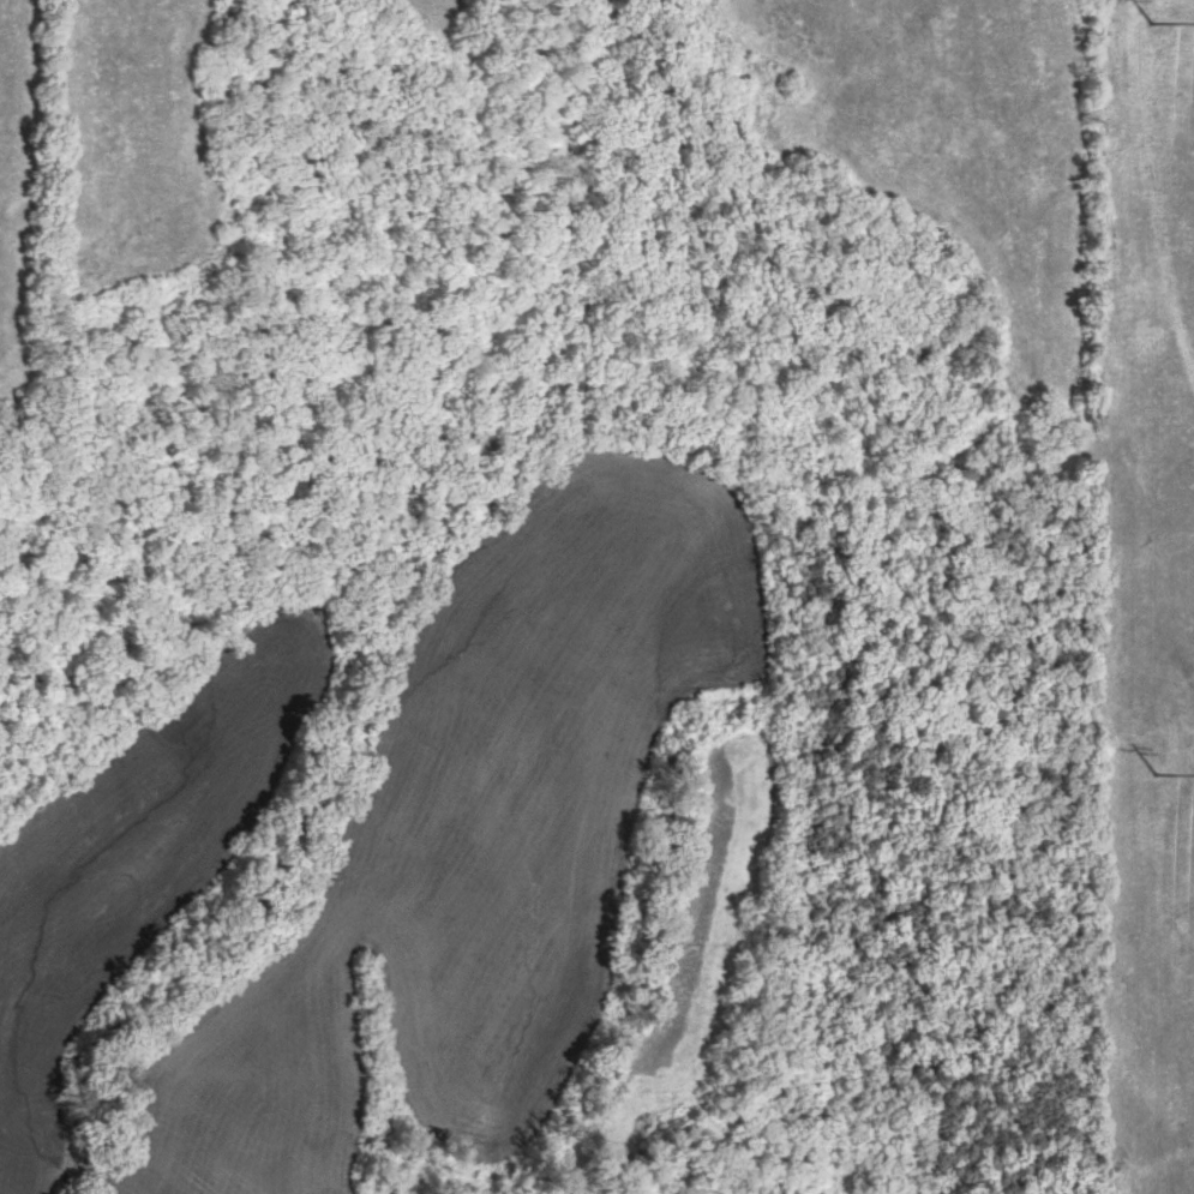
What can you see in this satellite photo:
power tower: (1166, 28)
power tower: (1169, 788)

